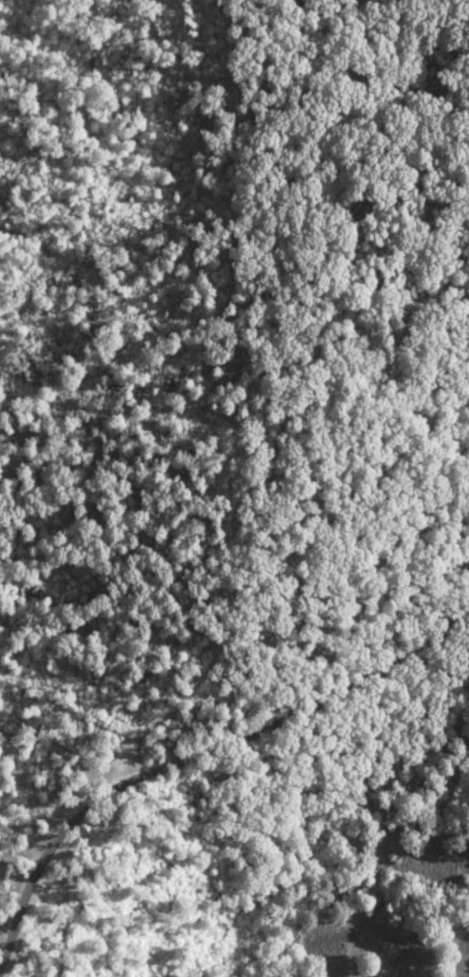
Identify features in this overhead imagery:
road: (286, 404)
road: (202, 750)

